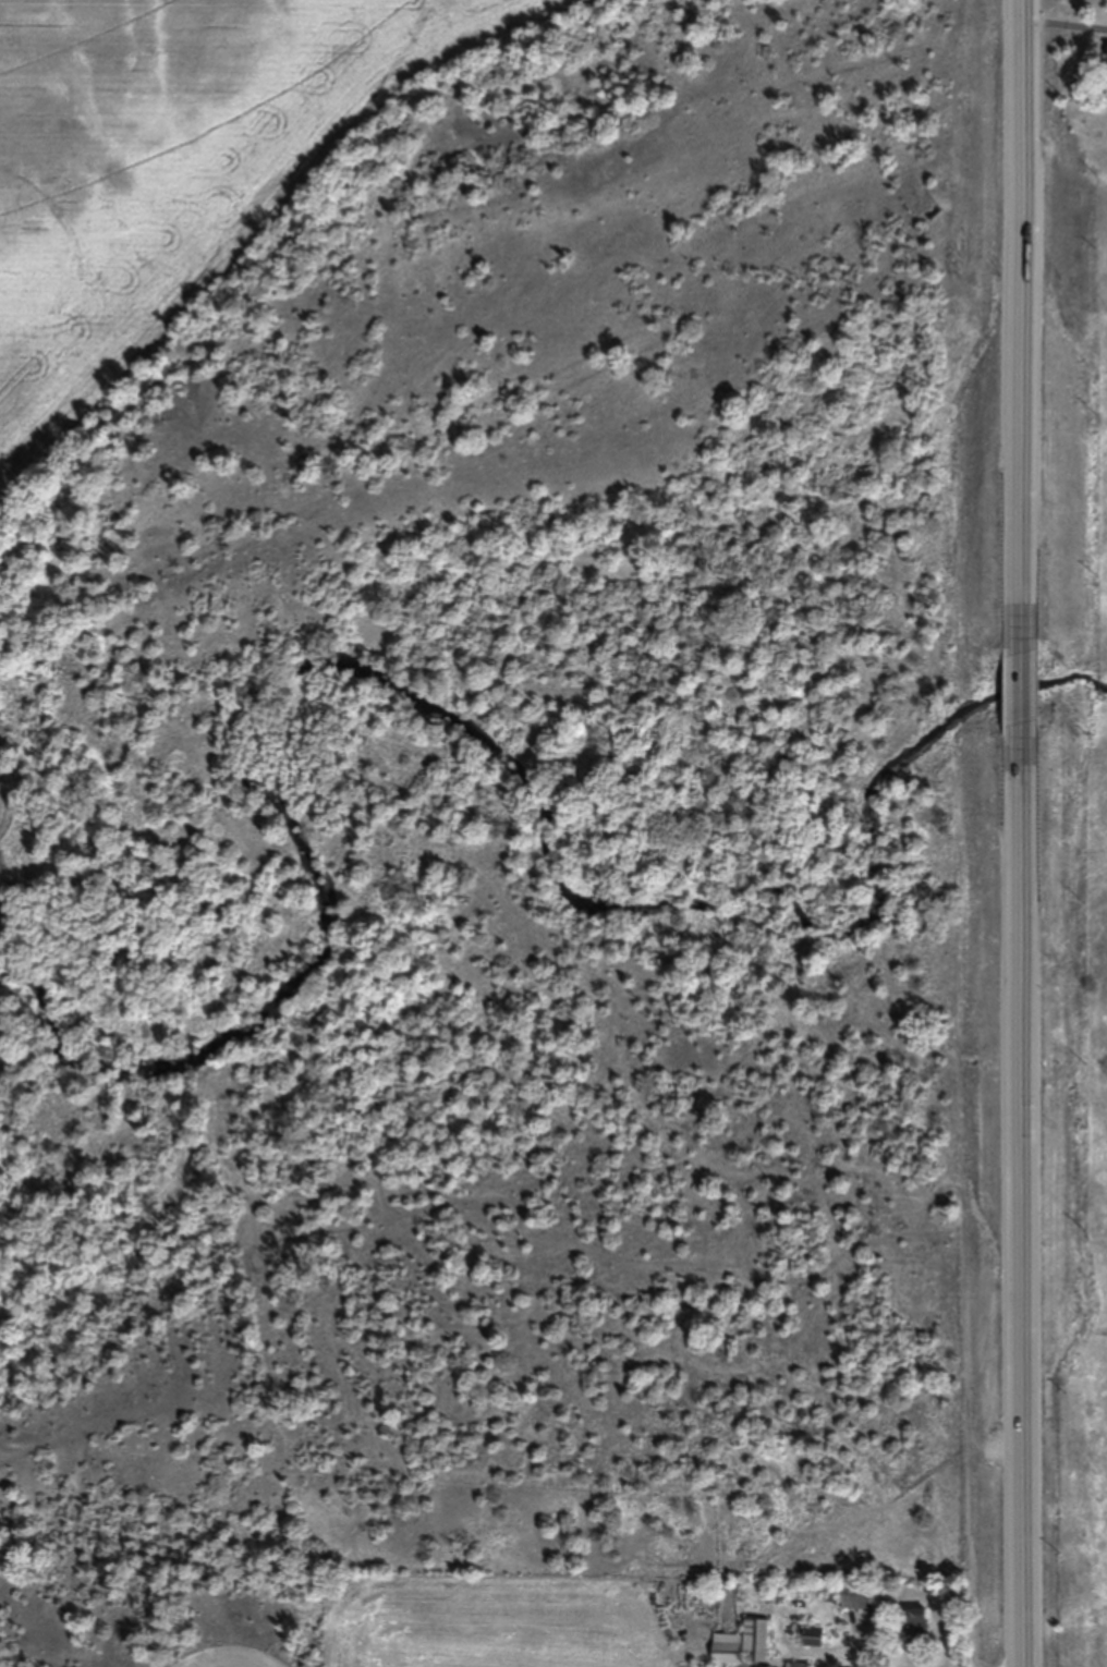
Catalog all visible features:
road: (1069, 24)
crop: (171, 169)
crop: (9, 804)
road: (1037, 832)
building: (855, 1601)
building: (915, 1625)
building: (813, 1636)
building: (743, 1644)
road: (851, 1658)
building: (799, 1665)

